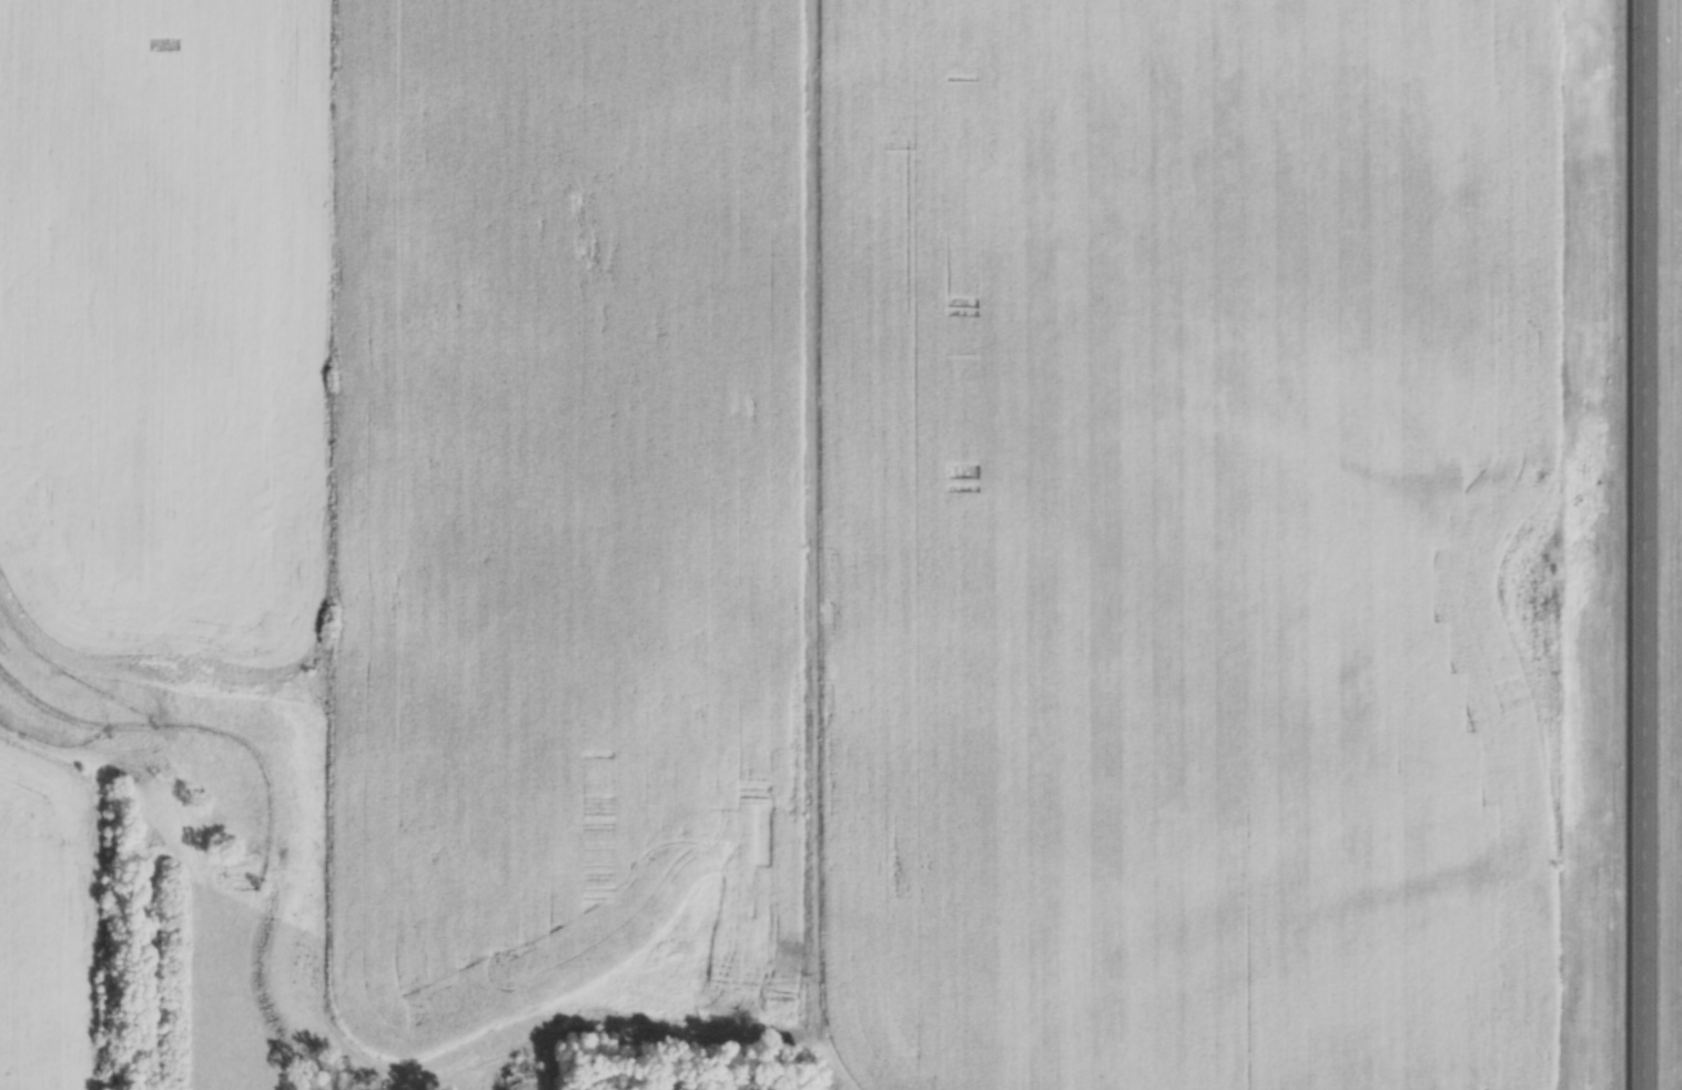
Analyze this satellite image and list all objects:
road: (1635, 544)

